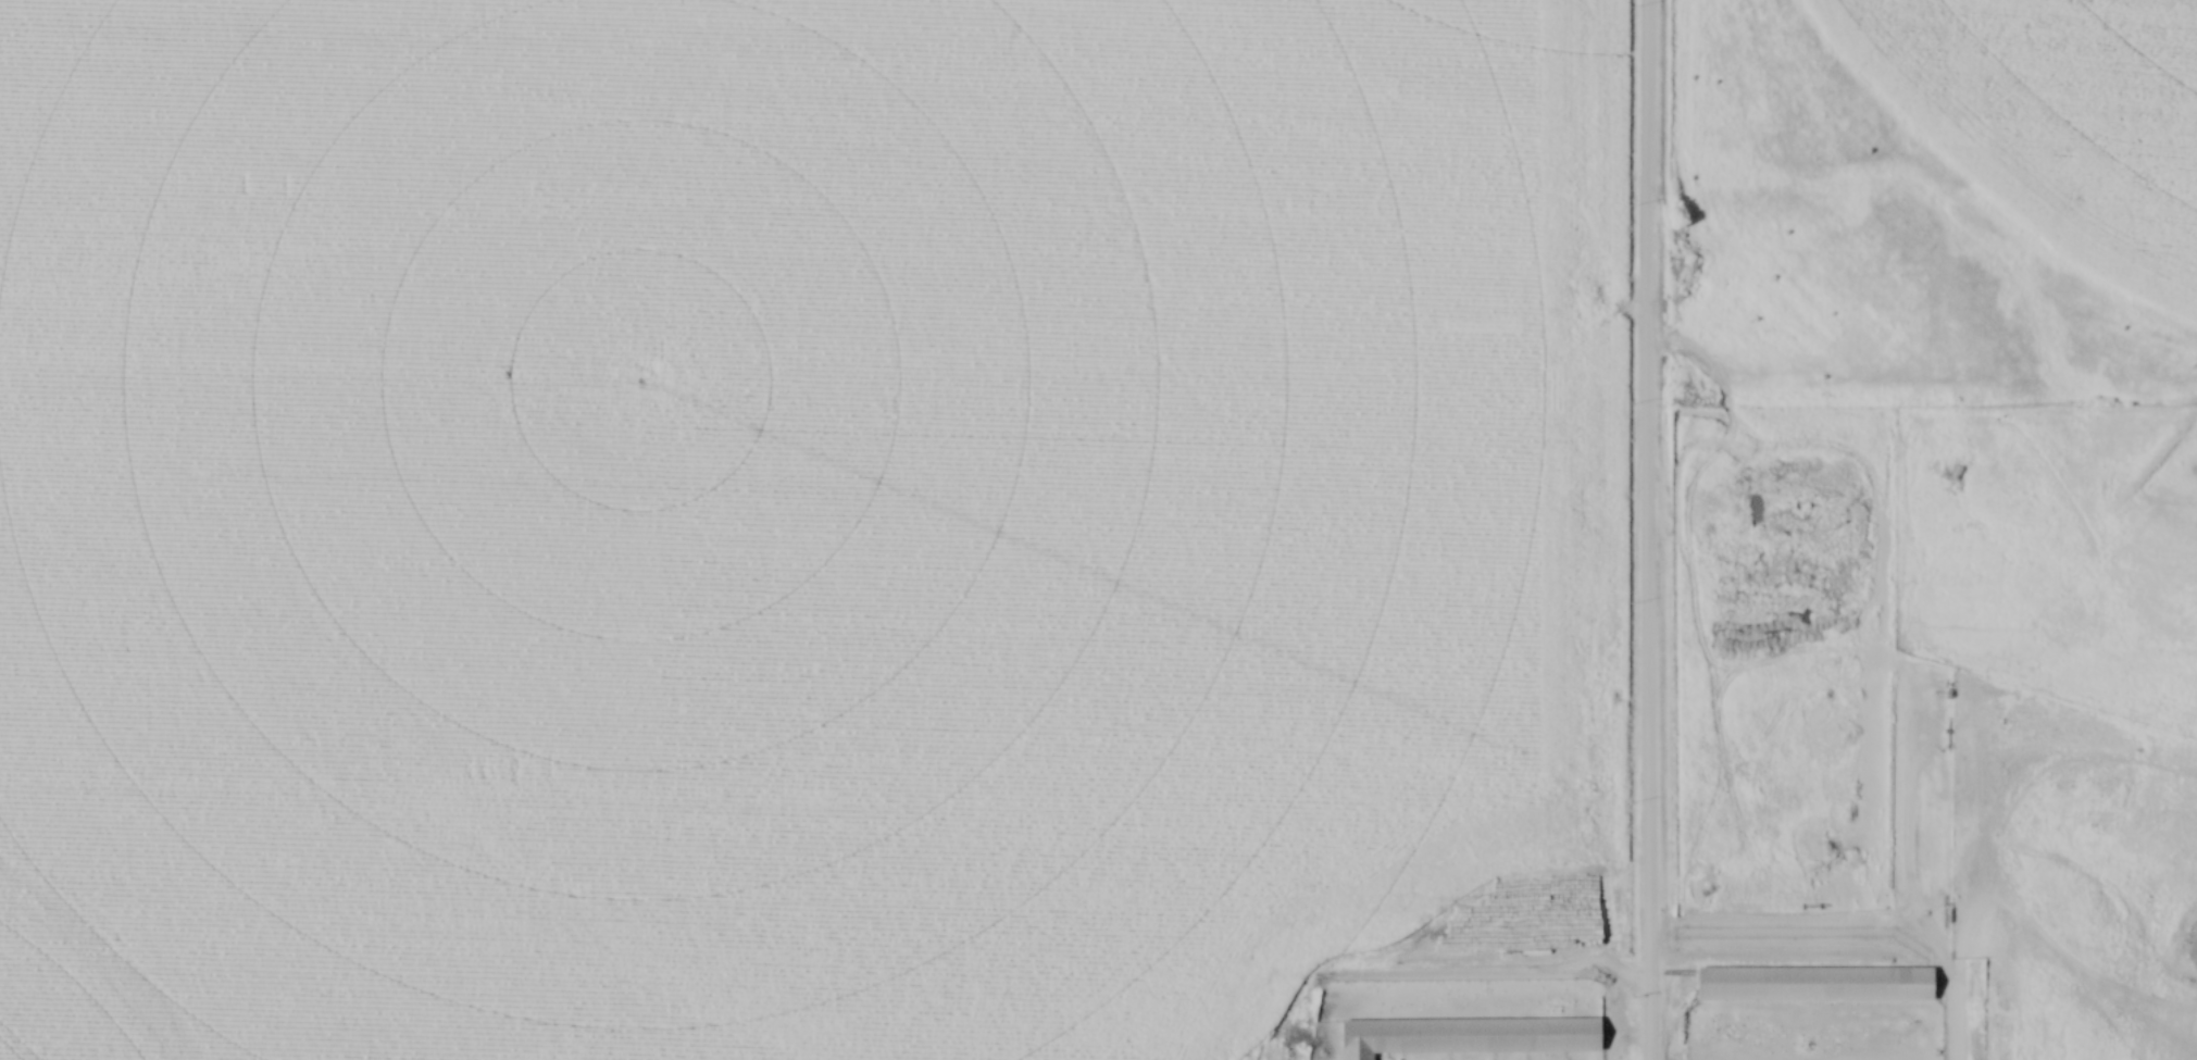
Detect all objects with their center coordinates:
road: (1649, 529)
road: (1820, 1034)

